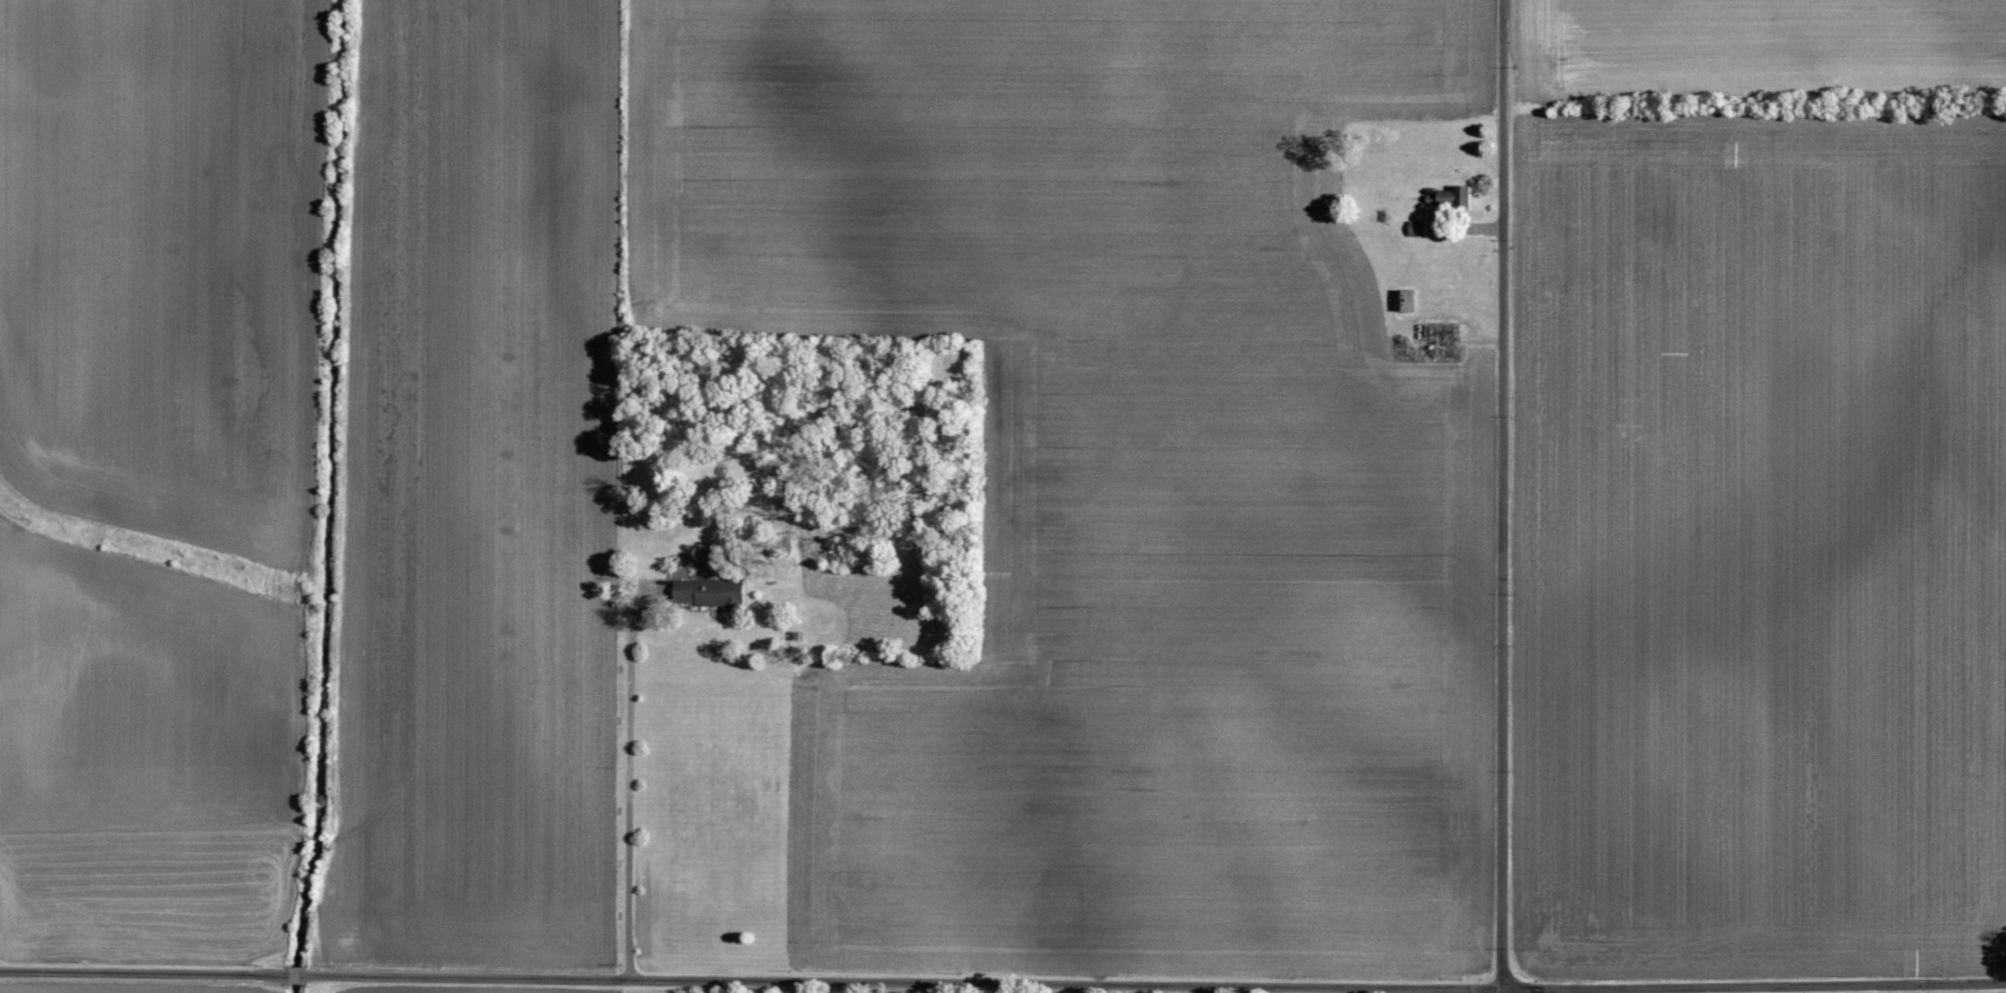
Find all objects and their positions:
building: (1465, 194)
road: (1503, 496)
building: (720, 592)
road: (630, 781)
road: (1003, 980)

